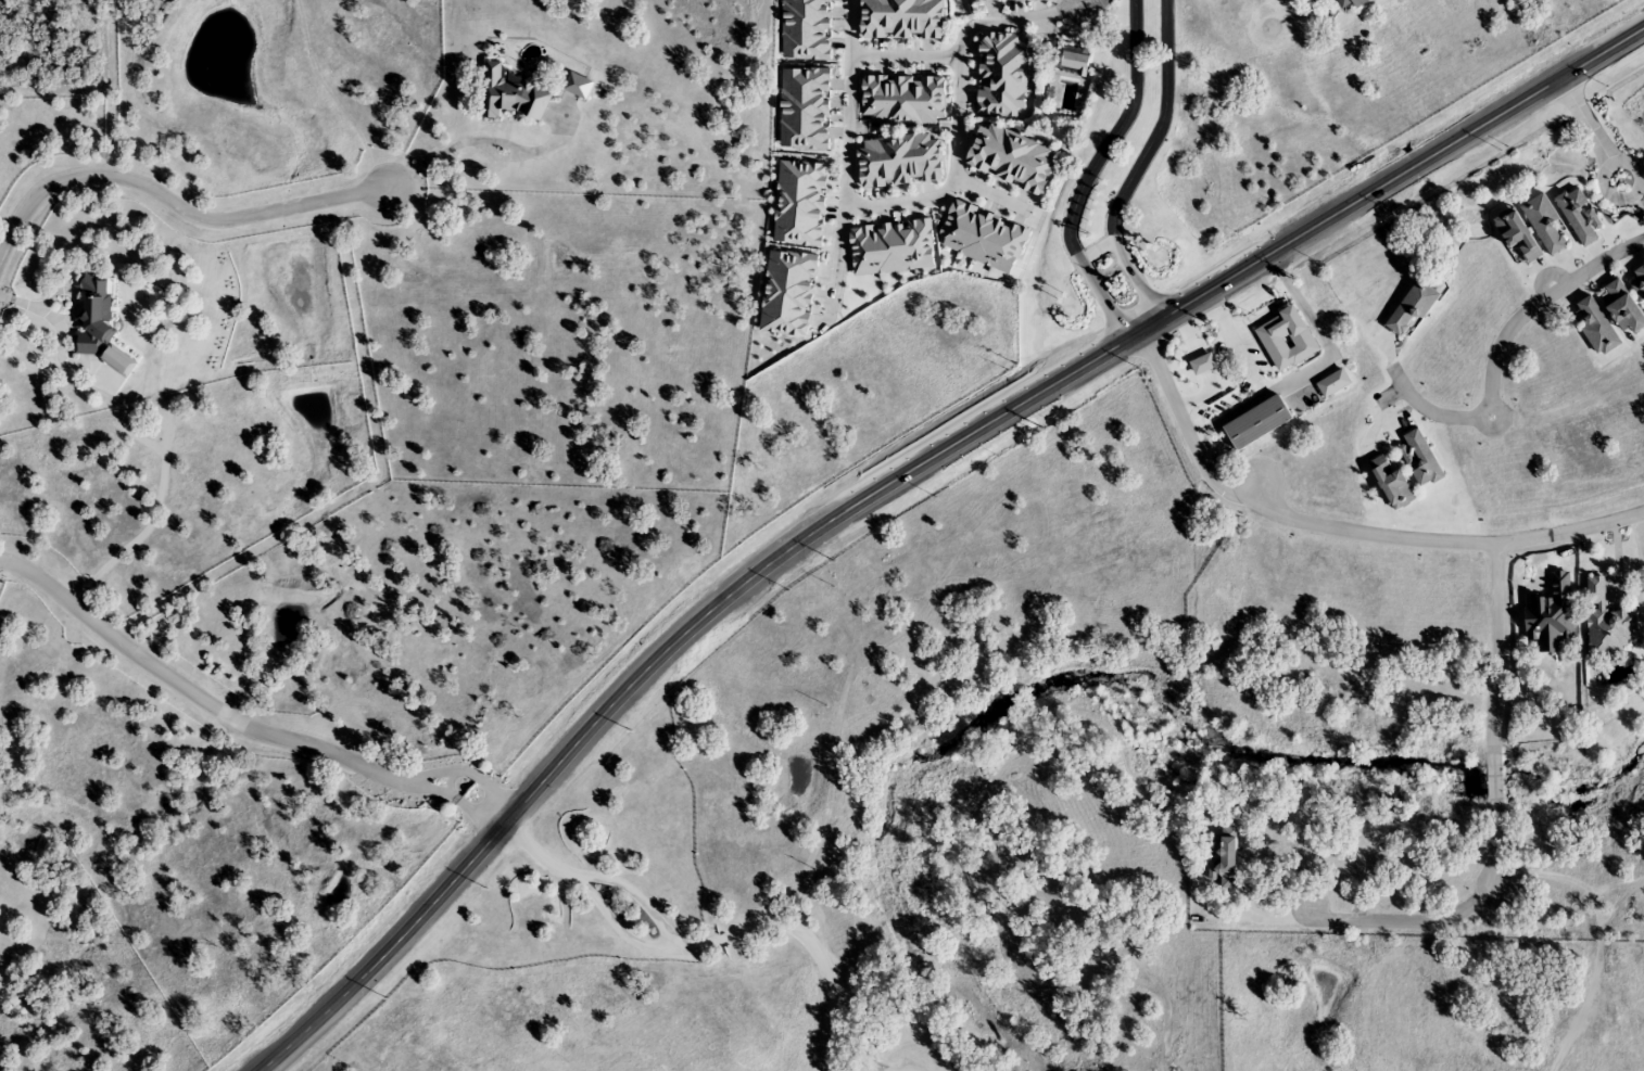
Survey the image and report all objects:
building: (1006, 0)
road: (1066, 3)
building: (1344, 4)
building: (902, 20)
road: (1009, 20)
building: (1075, 60)
building: (1001, 75)
building: (511, 95)
building: (902, 100)
road: (1598, 151)
building: (1011, 160)
building: (899, 161)
road: (1633, 167)
road: (1137, 168)
road: (1087, 175)
road: (844, 194)
road: (169, 203)
building: (1579, 216)
building: (1546, 225)
building: (1517, 234)
road: (1096, 251)
road: (837, 258)
building: (1639, 277)
building: (1622, 307)
building: (1412, 308)
building: (98, 324)
building: (1595, 327)
building: (1281, 337)
road: (1498, 343)
building: (1332, 384)
building: (1257, 423)
building: (1422, 461)
road: (897, 480)
building: (1391, 483)
road: (1341, 526)
building: (1606, 623)
road: (1495, 715)
road: (240, 724)
building: (1224, 857)
road: (711, 953)

